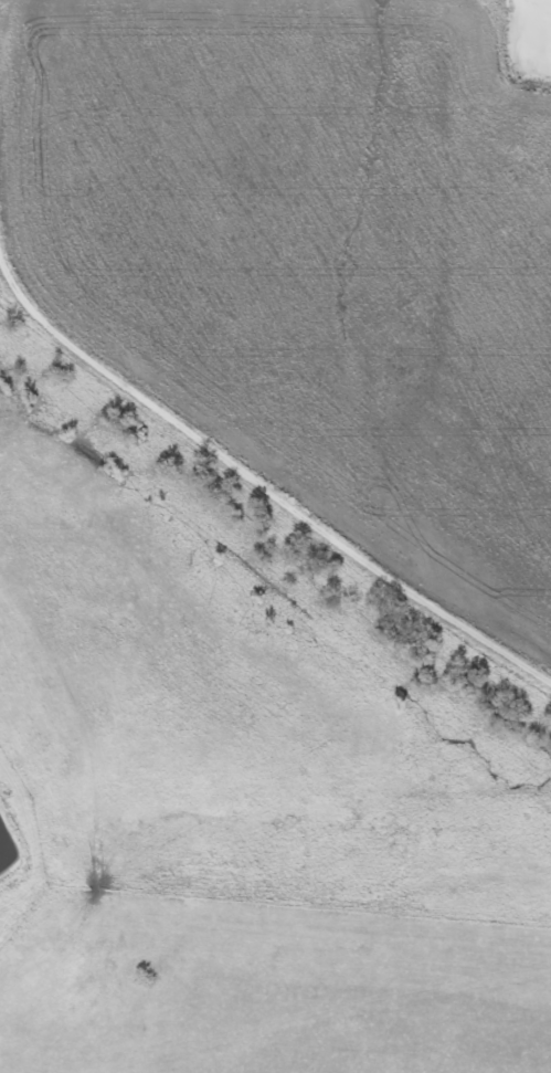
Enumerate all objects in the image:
road: (259, 483)

